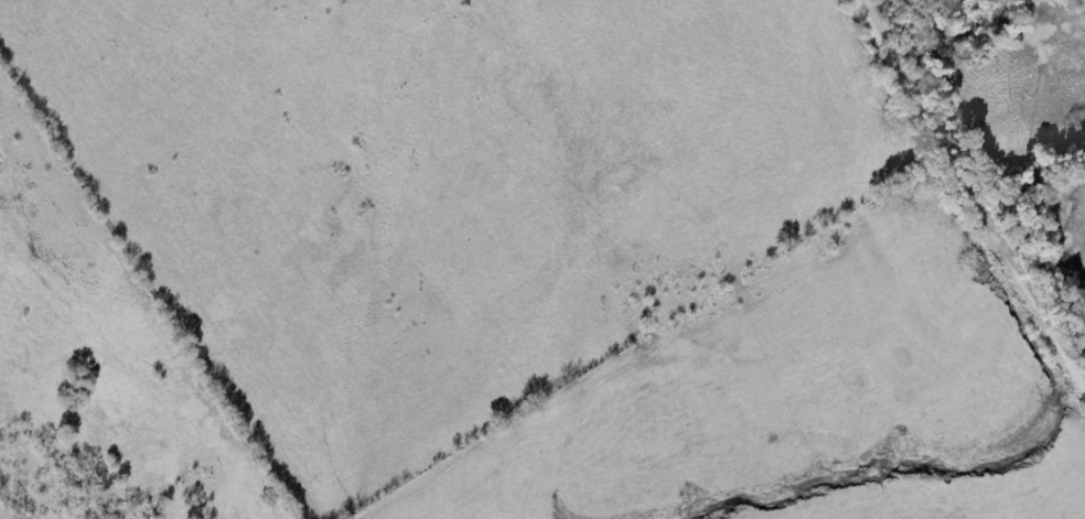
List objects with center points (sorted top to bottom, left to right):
road: (973, 190)

